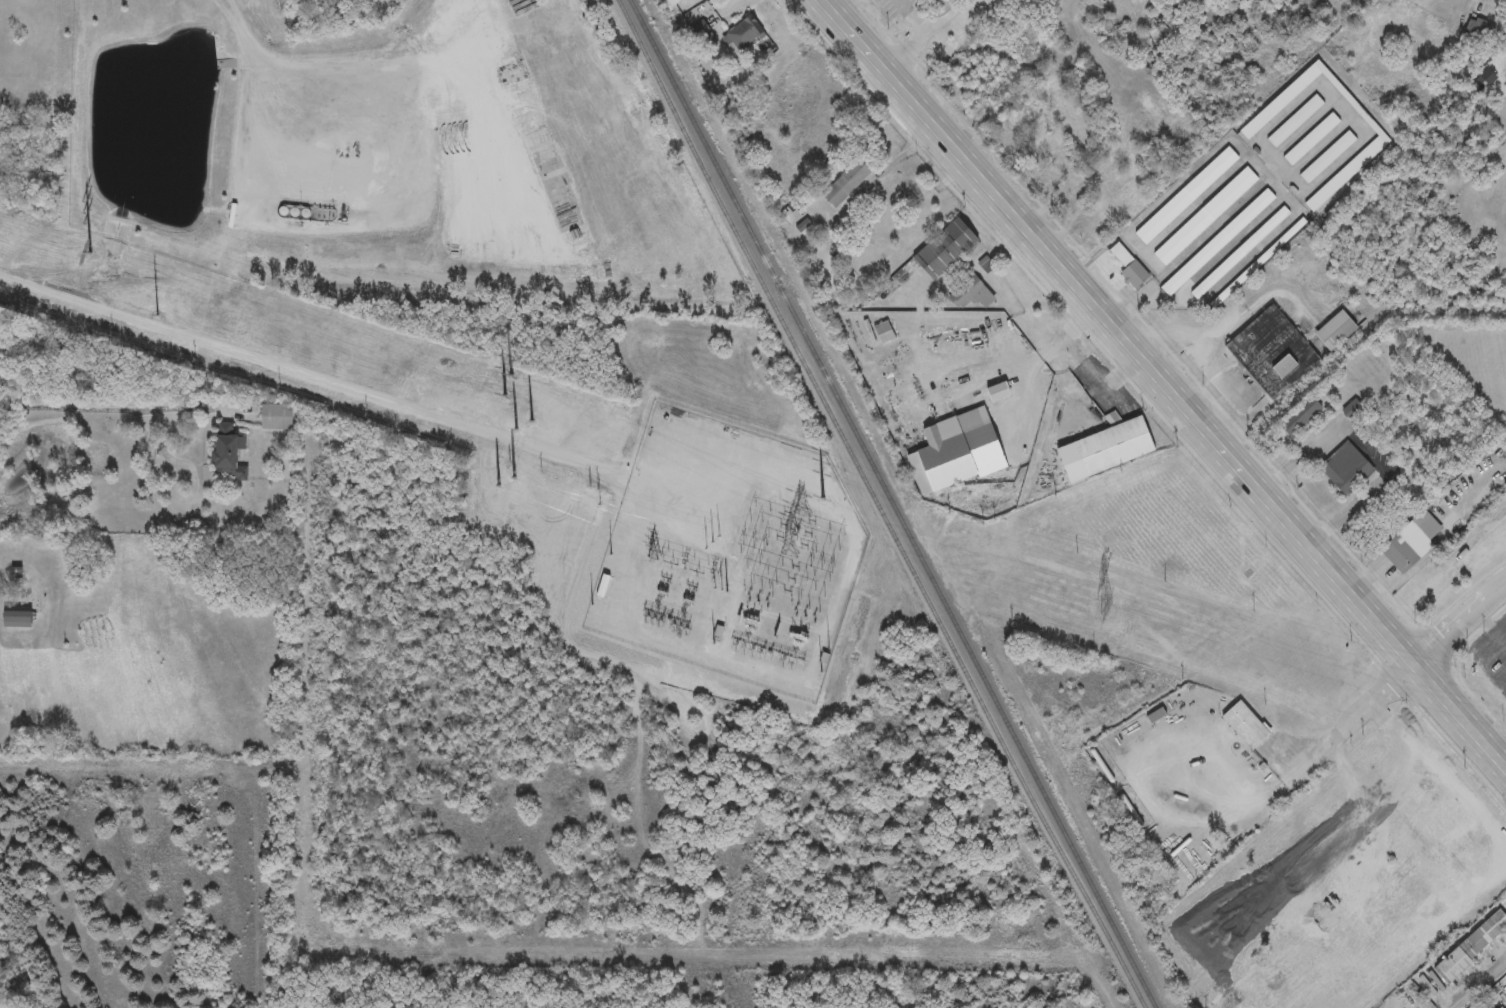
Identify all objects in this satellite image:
building: (672, 2)
road: (731, 5)
road: (716, 16)
building: (1481, 30)
building: (744, 35)
road: (935, 40)
road: (1502, 57)
road: (285, 68)
building: (1073, 110)
building: (1295, 122)
building: (1247, 135)
building: (1312, 140)
building: (1327, 158)
road: (897, 159)
building: (847, 183)
road: (1275, 188)
building: (1187, 196)
building: (1124, 203)
building: (789, 214)
building: (1206, 216)
building: (913, 234)
building: (1218, 243)
building: (947, 249)
building: (1241, 252)
building: (1130, 267)
building: (973, 293)
power tower: (158, 304)
building: (1336, 332)
road: (1197, 350)
building: (1273, 354)
road: (1078, 366)
road: (315, 376)
road: (1163, 384)
building: (998, 393)
power tower: (479, 407)
road: (99, 410)
building: (276, 417)
building: (1301, 417)
building: (1106, 450)
road: (1359, 450)
building: (227, 452)
building: (957, 452)
building: (1346, 469)
power tower: (811, 492)
railway: (891, 504)
railway: (877, 505)
power substation: (739, 539)
building: (1412, 543)
power tower: (1105, 609)
building: (17, 620)
road: (1458, 623)
road: (1485, 623)
road: (1501, 631)
road: (1485, 663)
building: (1245, 726)
road: (1283, 779)
building: (1472, 947)
road: (1481, 982)
building: (1501, 993)
building: (1484, 1006)

